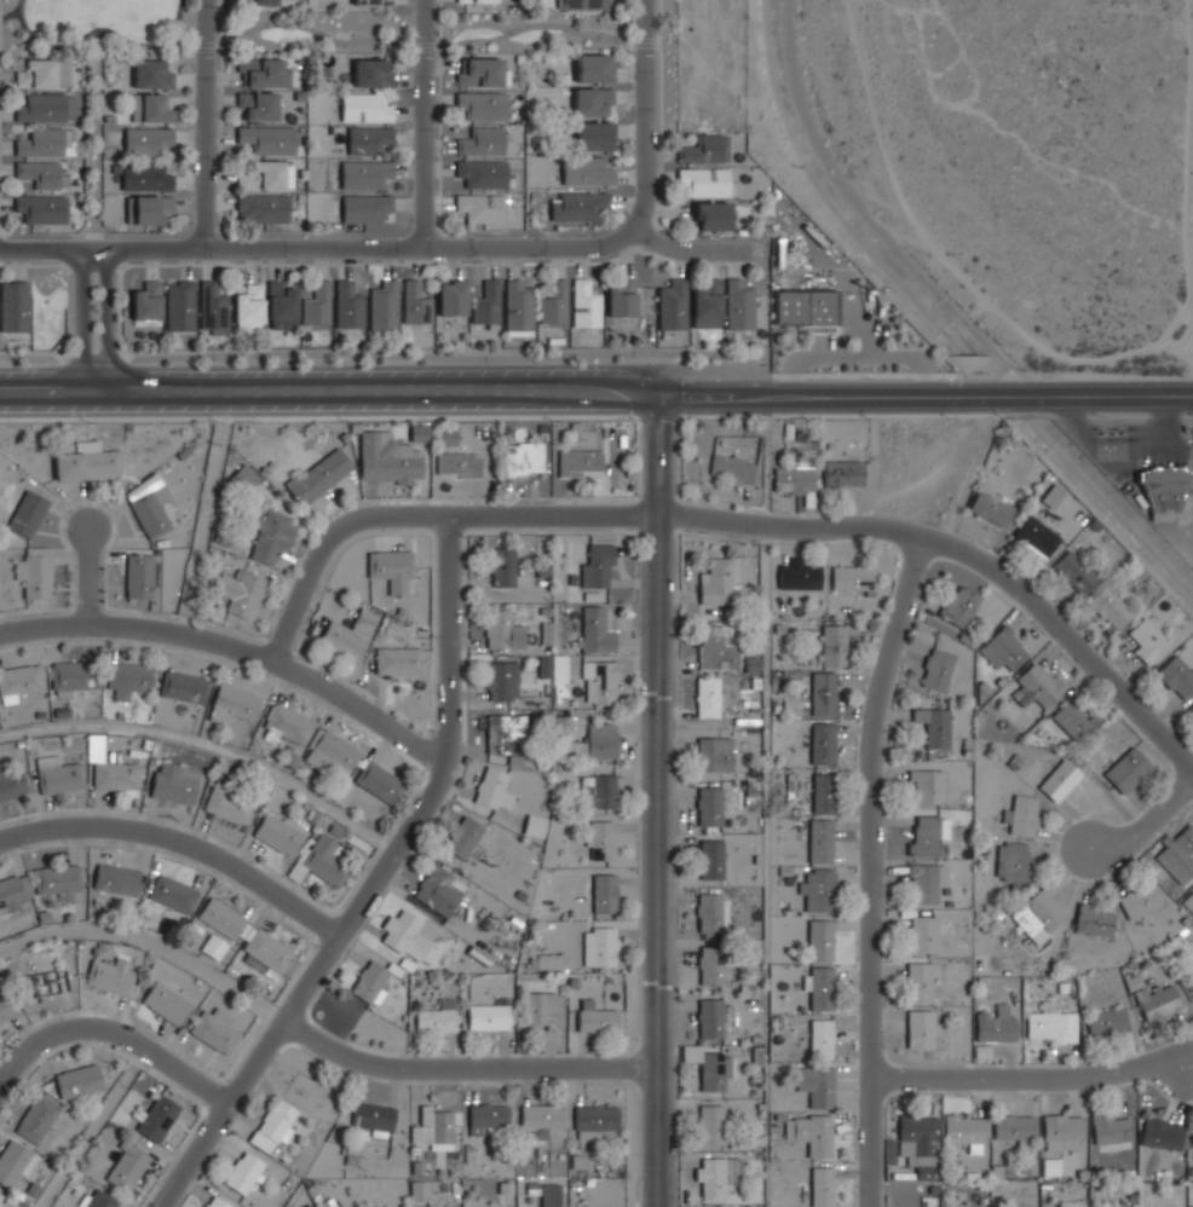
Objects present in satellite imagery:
building: (477, 1)
building: (257, 2)
building: (373, 2)
building: (584, 5)
road: (15, 12)
park: (98, 27)
road: (86, 33)
road: (385, 39)
building: (594, 68)
building: (480, 71)
building: (44, 73)
building: (261, 73)
building: (371, 73)
building: (151, 75)
building: (593, 103)
building: (483, 104)
building: (257, 106)
building: (365, 106)
building: (46, 108)
building: (151, 108)
road: (646, 120)
road: (425, 122)
road: (208, 123)
building: (594, 135)
building: (367, 138)
road: (96, 139)
building: (146, 139)
building: (266, 139)
building: (483, 140)
building: (44, 143)
building: (703, 150)
building: (586, 171)
building: (483, 172)
building: (363, 173)
building: (40, 174)
building: (265, 175)
building: (145, 177)
building: (703, 181)
building: (578, 204)
building: (482, 206)
building: (149, 207)
building: (261, 207)
building: (367, 207)
building: (41, 208)
road: (866, 214)
building: (711, 215)
road: (317, 247)
road: (699, 250)
building: (450, 298)
building: (621, 299)
building: (146, 301)
building: (415, 304)
building: (485, 304)
building: (554, 304)
building: (279, 305)
building: (316, 305)
building: (584, 305)
building: (705, 305)
building: (738, 305)
building: (179, 306)
building: (247, 306)
building: (347, 306)
building: (384, 306)
building: (15, 307)
building: (803, 307)
building: (212, 308)
building: (518, 308)
building: (672, 308)
road: (93, 322)
road: (384, 353)
road: (1008, 393)
road: (1120, 393)
road: (483, 394)
building: (1112, 432)
building: (446, 434)
building: (384, 457)
building: (523, 457)
building: (87, 461)
building: (580, 462)
building: (459, 464)
building: (732, 468)
building: (842, 473)
building: (246, 474)
building: (318, 475)
building: (793, 477)
building: (1165, 492)
building: (1051, 496)
building: (990, 507)
building: (151, 510)
building: (27, 512)
road: (202, 514)
road: (734, 519)
building: (272, 535)
building: (1036, 537)
building: (598, 565)
building: (502, 566)
building: (392, 568)
building: (34, 571)
building: (1073, 571)
building: (138, 573)
building: (800, 576)
building: (853, 577)
road: (90, 579)
building: (716, 581)
building: (241, 591)
building: (959, 605)
building: (1110, 606)
building: (365, 618)
building: (502, 629)
building: (595, 629)
building: (342, 640)
building: (1147, 640)
building: (835, 645)
road: (237, 646)
building: (1004, 646)
building: (715, 648)
building: (397, 659)
building: (936, 669)
building: (559, 675)
building: (1176, 675)
building: (73, 676)
building: (127, 677)
building: (19, 678)
building: (501, 680)
building: (600, 681)
building: (179, 683)
building: (1037, 685)
building: (820, 693)
building: (708, 695)
building: (231, 703)
building: (1191, 708)
building: (1073, 718)
building: (284, 724)
building: (934, 724)
building: (503, 733)
building: (601, 739)
building: (823, 743)
road: (211, 744)
building: (715, 753)
building: (332, 755)
building: (1126, 770)
building: (58, 772)
building: (115, 775)
building: (379, 780)
building: (1060, 780)
building: (173, 781)
building: (10, 782)
building: (926, 785)
building: (494, 789)
building: (600, 791)
building: (823, 792)
road: (657, 799)
building: (227, 804)
building: (709, 805)
building: (1024, 815)
road: (1145, 816)
building: (535, 825)
building: (277, 833)
building: (463, 836)
building: (927, 836)
building: (600, 838)
road: (180, 839)
building: (819, 839)
building: (1178, 856)
building: (711, 857)
building: (322, 859)
building: (1014, 861)
road: (875, 867)
building: (115, 879)
building: (54, 882)
road: (374, 882)
building: (924, 882)
building: (818, 889)
building: (437, 890)
building: (12, 891)
building: (605, 893)
building: (172, 894)
building: (1140, 900)
building: (1189, 901)
building: (711, 911)
building: (1038, 914)
building: (223, 919)
building: (1095, 919)
building: (923, 934)
road: (150, 939)
building: (410, 939)
building: (819, 939)
building: (600, 946)
building: (213, 947)
building: (265, 954)
building: (551, 961)
building: (711, 965)
building: (109, 976)
building: (1189, 977)
building: (918, 981)
building: (370, 982)
building: (820, 988)
building: (1153, 999)
building: (165, 1003)
building: (4, 1010)
building: (540, 1010)
building: (439, 1016)
building: (488, 1016)
building: (713, 1016)
building: (598, 1020)
building: (1107, 1022)
building: (995, 1024)
building: (1051, 1027)
building: (918, 1028)
road: (110, 1030)
building: (213, 1030)
building: (822, 1038)
road: (463, 1068)
building: (714, 1069)
road: (1034, 1076)
building: (79, 1080)
building: (815, 1085)
building: (36, 1115)
building: (486, 1115)
building: (159, 1118)
building: (373, 1118)
building: (277, 1119)
building: (540, 1119)
building: (594, 1120)
building: (710, 1124)
road: (91, 1127)
building: (434, 1127)
building: (1111, 1127)
building: (964, 1128)
building: (1013, 1128)
building: (1062, 1131)
building: (1162, 1132)
building: (814, 1134)
building: (1192, 1137)
building: (920, 1144)
building: (13, 1161)
building: (127, 1166)
building: (243, 1172)
building: (714, 1174)
building: (822, 1188)
building: (420, 1189)
building: (551, 1194)
building: (97, 1200)
building: (2, 1201)
building: (217, 1202)
building: (1192, 1205)
building: (757, 1206)

